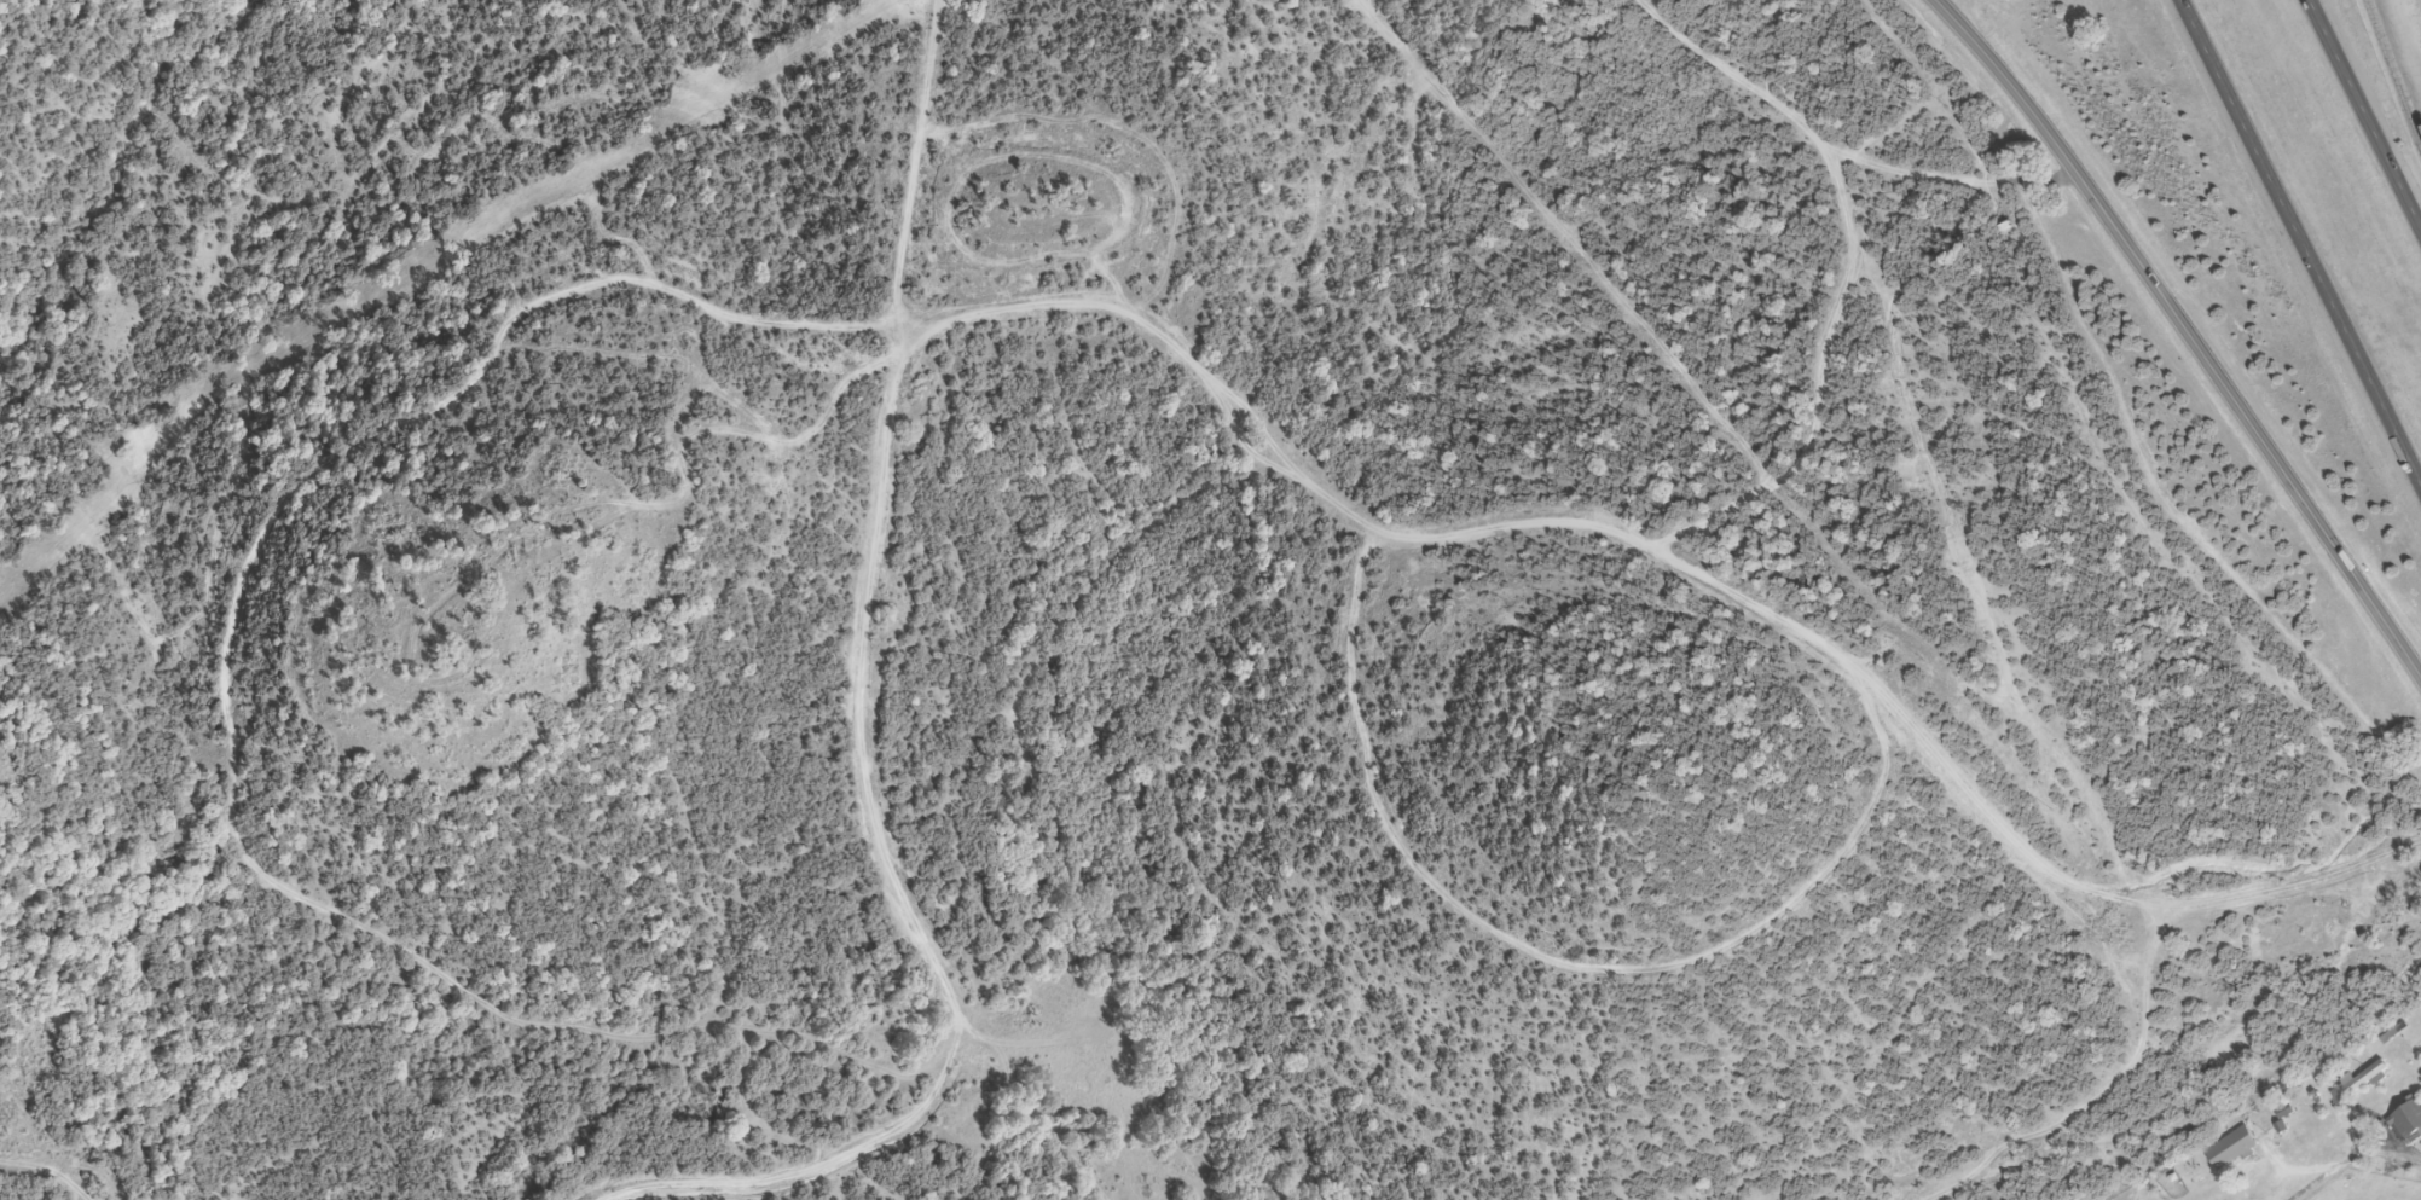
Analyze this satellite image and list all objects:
road: (2392, 74)
road: (2364, 115)
road: (2301, 242)
road: (2191, 331)
building: (2361, 1080)
building: (2406, 1124)
building: (2228, 1150)
road: (2351, 1159)

